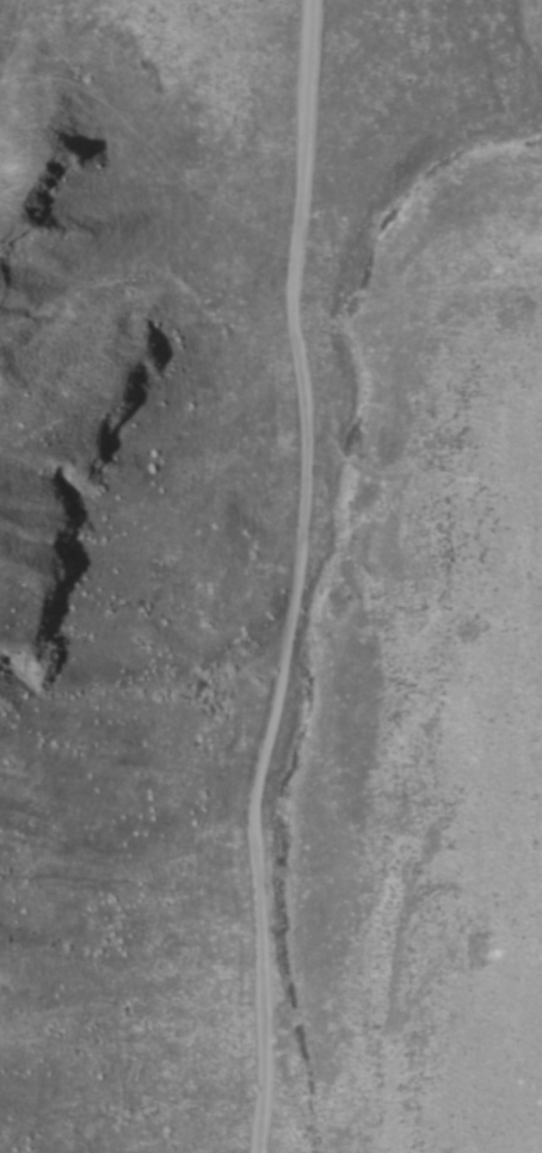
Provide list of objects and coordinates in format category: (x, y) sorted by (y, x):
road: (306, 577)

